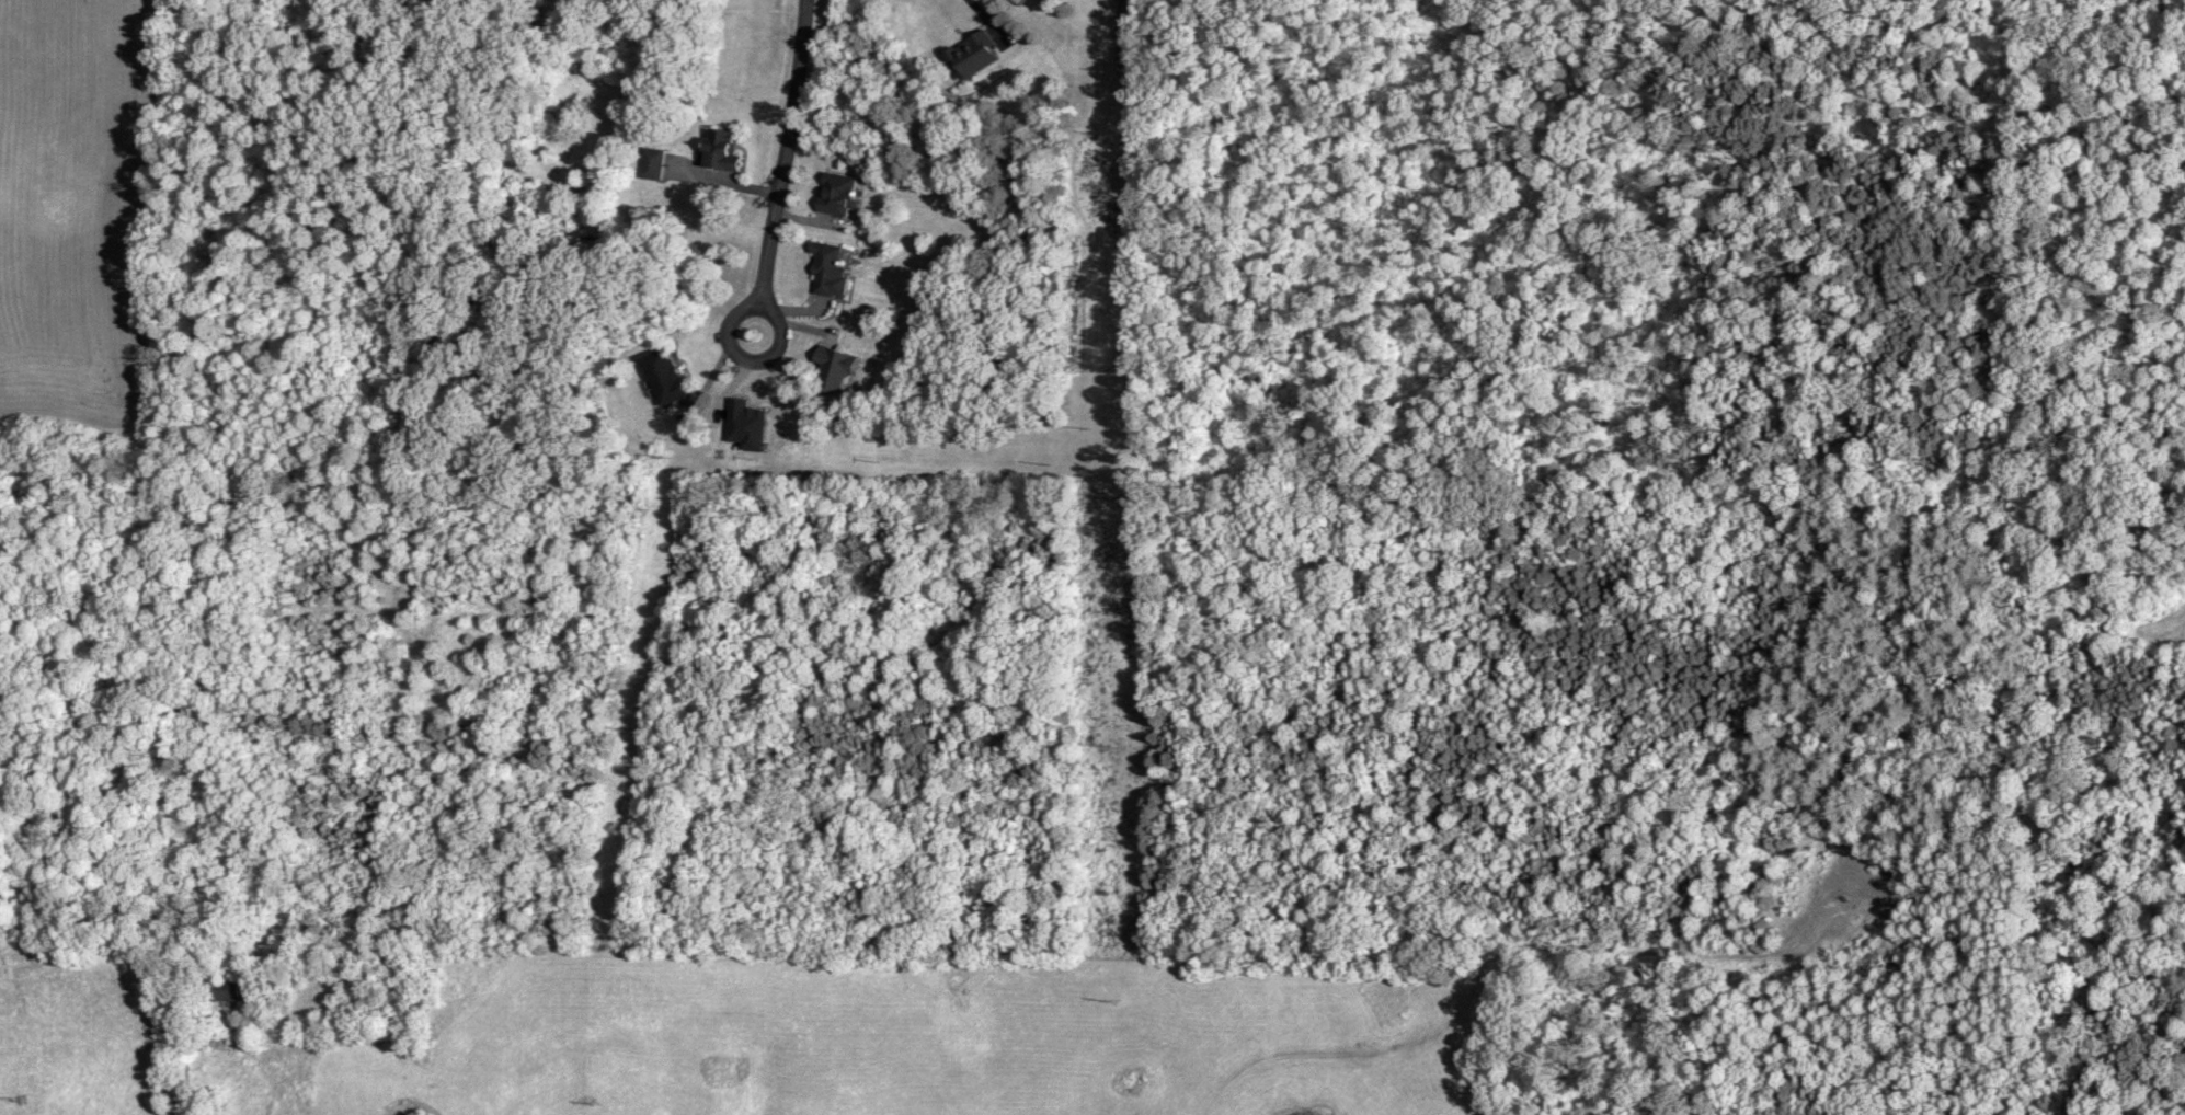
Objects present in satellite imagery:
building: (971, 54)
building: (716, 148)
building: (651, 163)
road: (786, 165)
building: (833, 193)
building: (823, 271)
building: (832, 370)
building: (662, 375)
road: (144, 737)
building: (228, 989)

